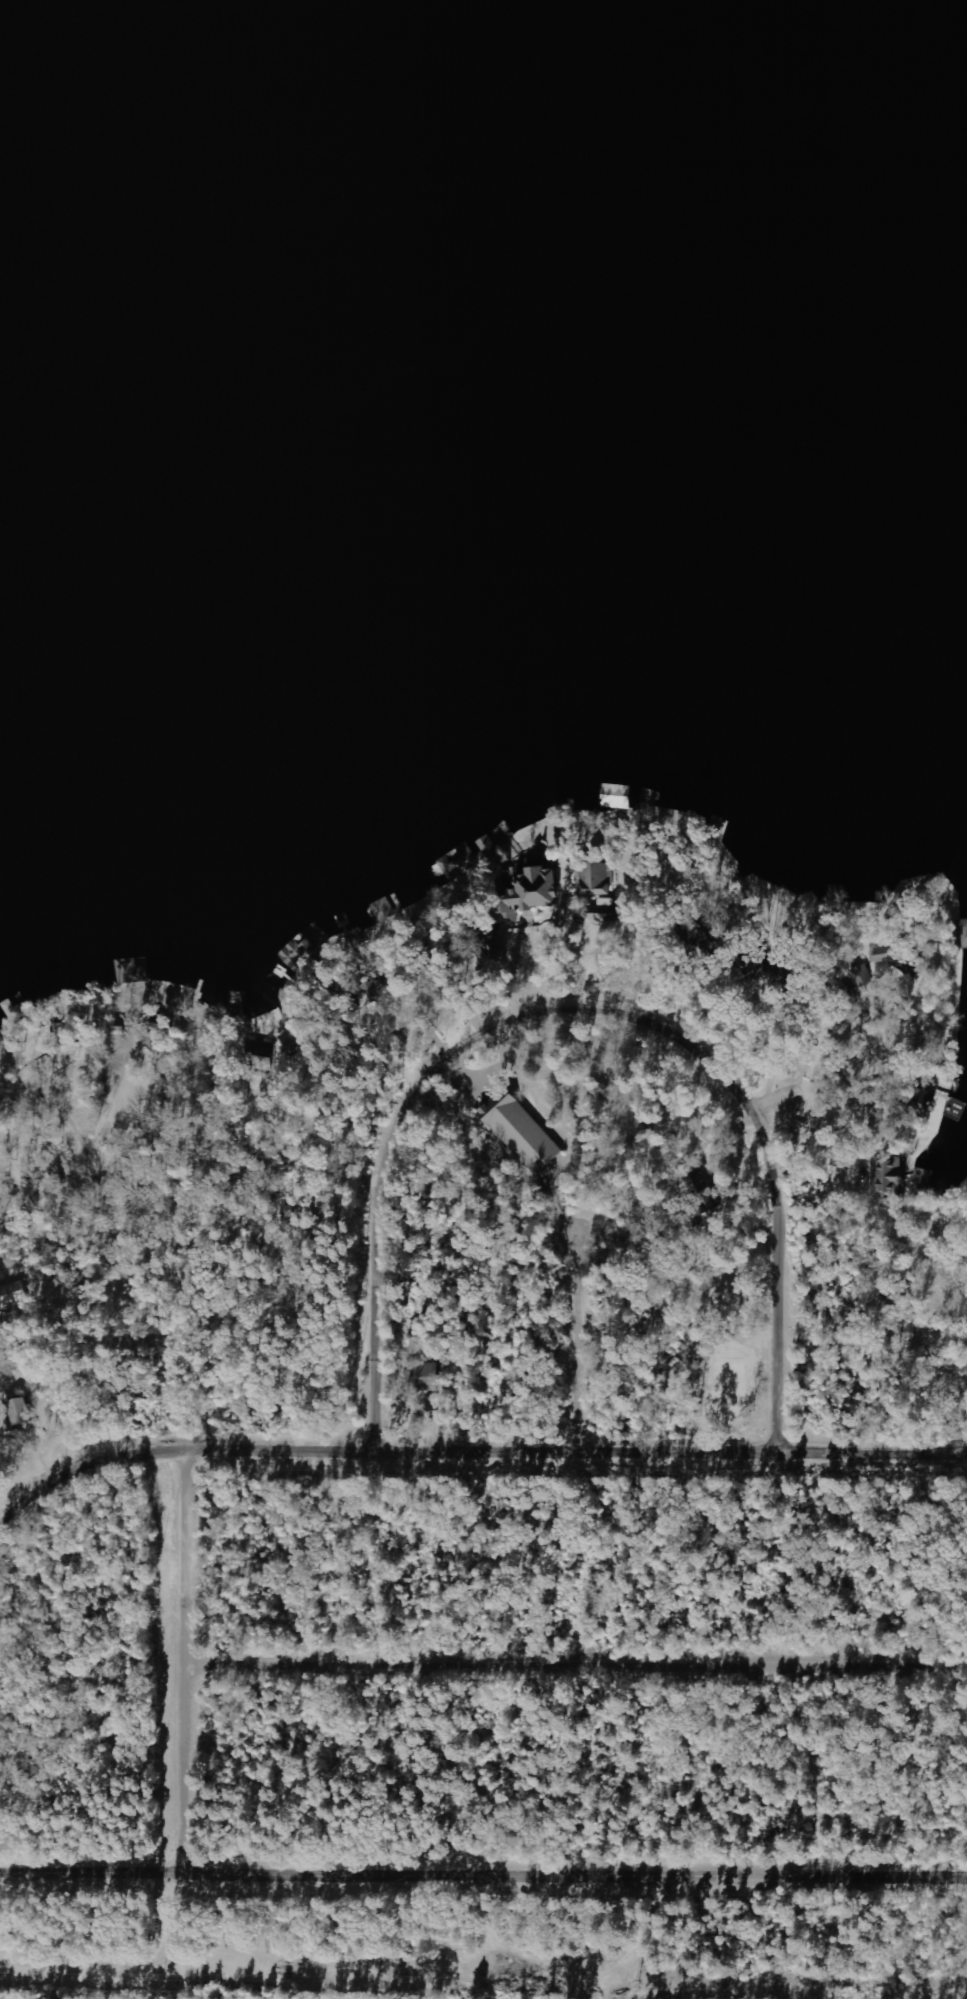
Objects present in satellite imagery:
building: (460, 862)
building: (593, 878)
building: (531, 891)
building: (964, 933)
building: (493, 942)
building: (887, 952)
building: (133, 971)
building: (863, 976)
road: (595, 998)
building: (151, 1036)
road: (821, 1081)
building: (925, 1100)
building: (522, 1131)
road: (340, 1154)
building: (888, 1176)
road: (50, 1193)
building: (712, 1200)
building: (11, 1294)
road: (595, 1341)
building: (429, 1377)
building: (22, 1411)
road: (465, 1446)
road: (209, 1648)
road: (588, 1665)
road: (483, 1863)
power tower: (640, 1983)

